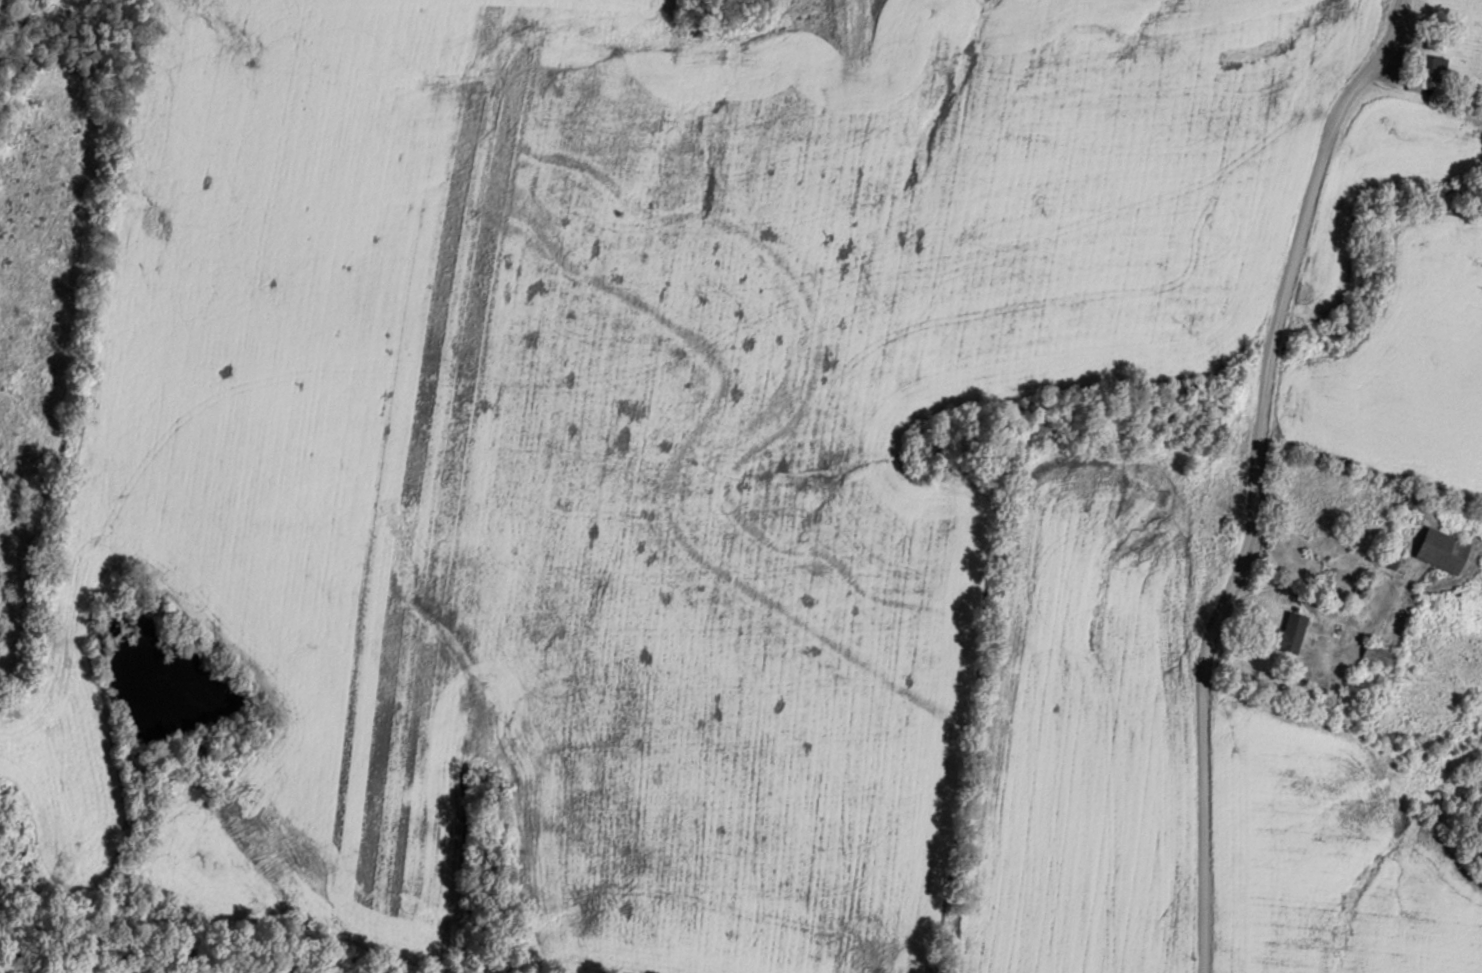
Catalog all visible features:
building: (1429, 73)
road: (1247, 475)
building: (1417, 500)
building: (1443, 549)
building: (1293, 631)
building: (1381, 653)
building: (1333, 701)

